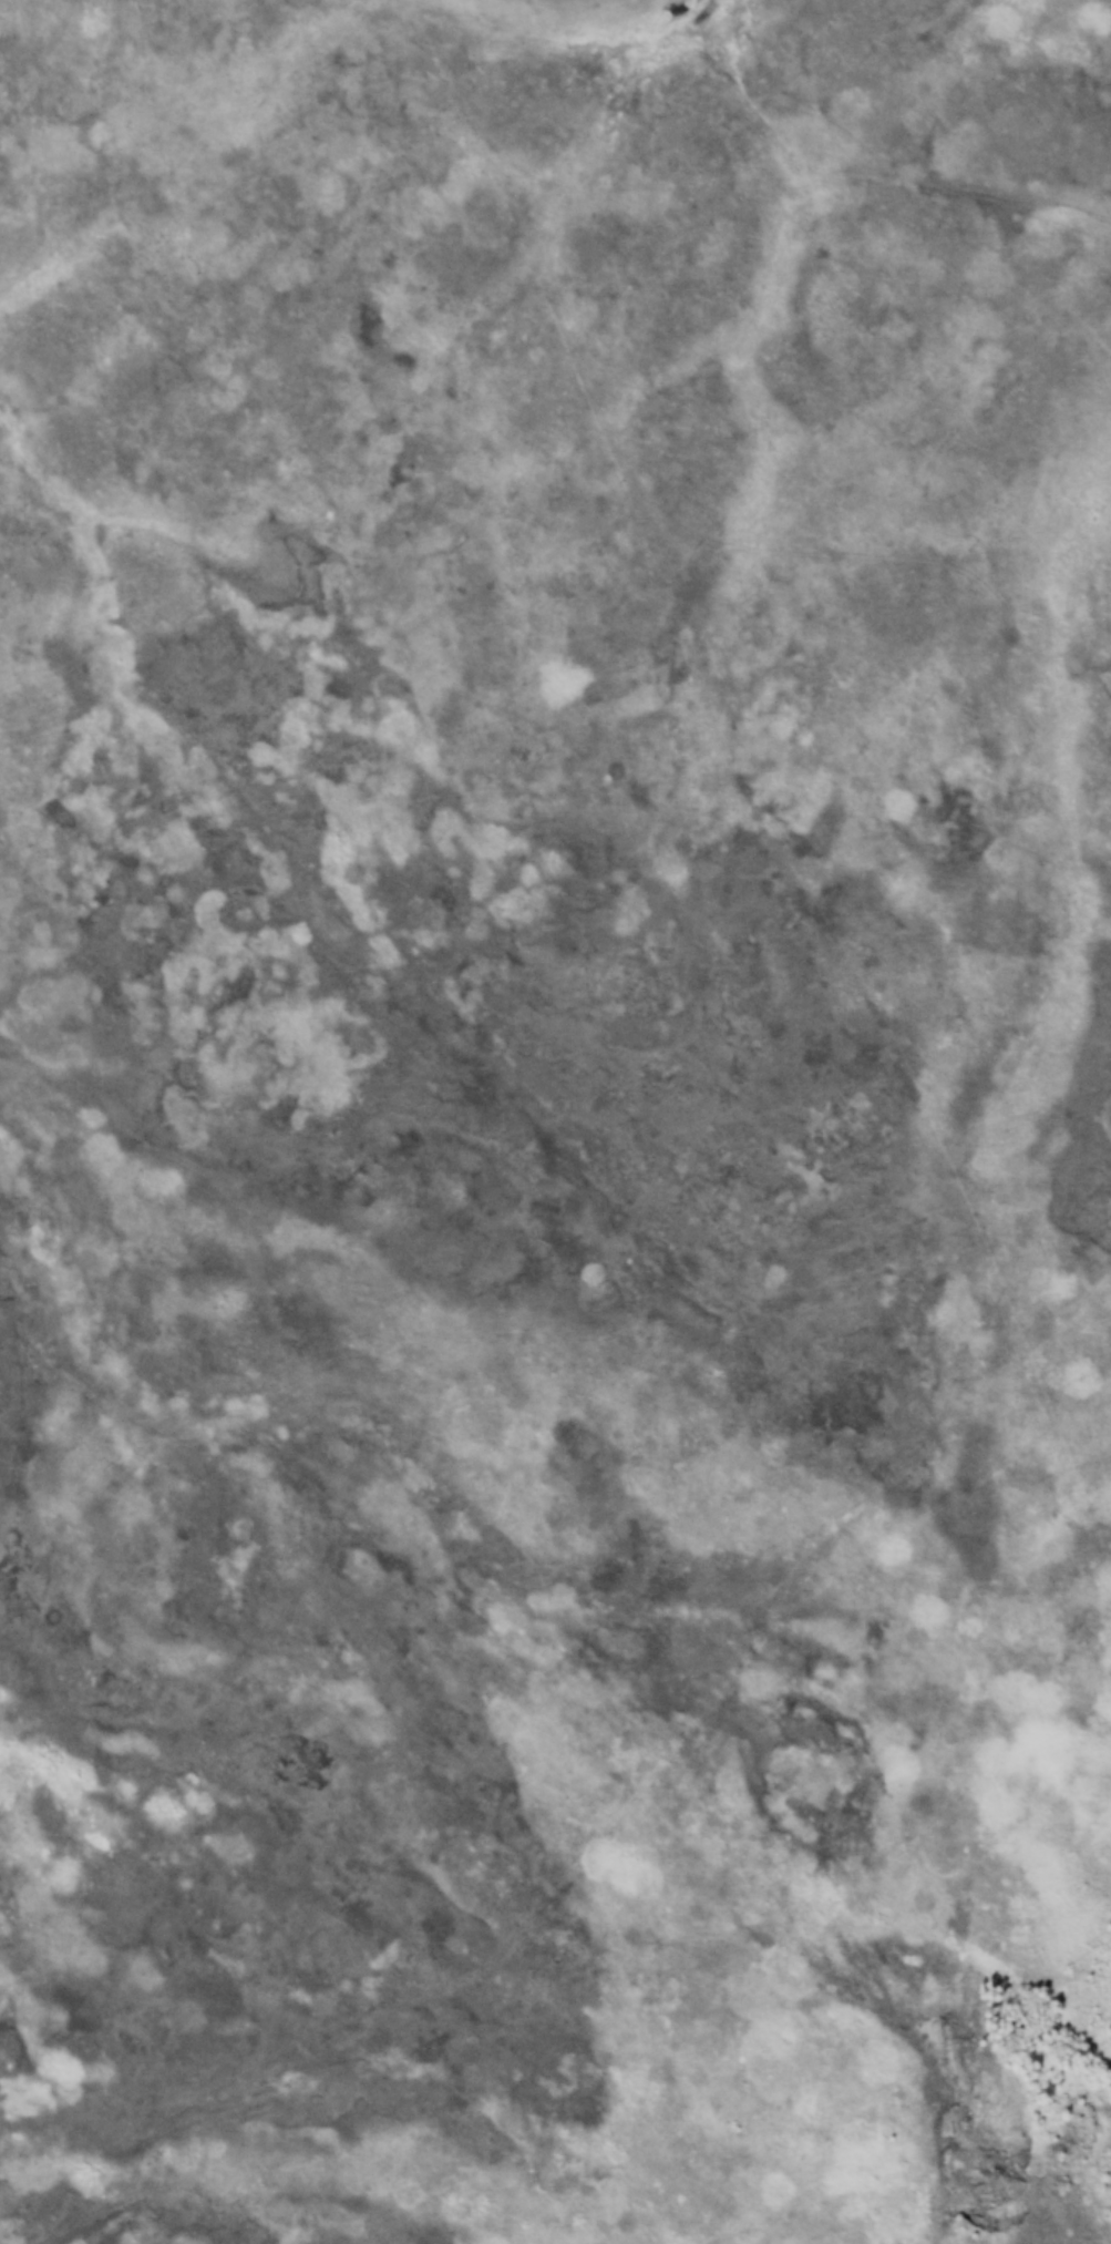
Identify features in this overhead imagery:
road: (879, 180)

